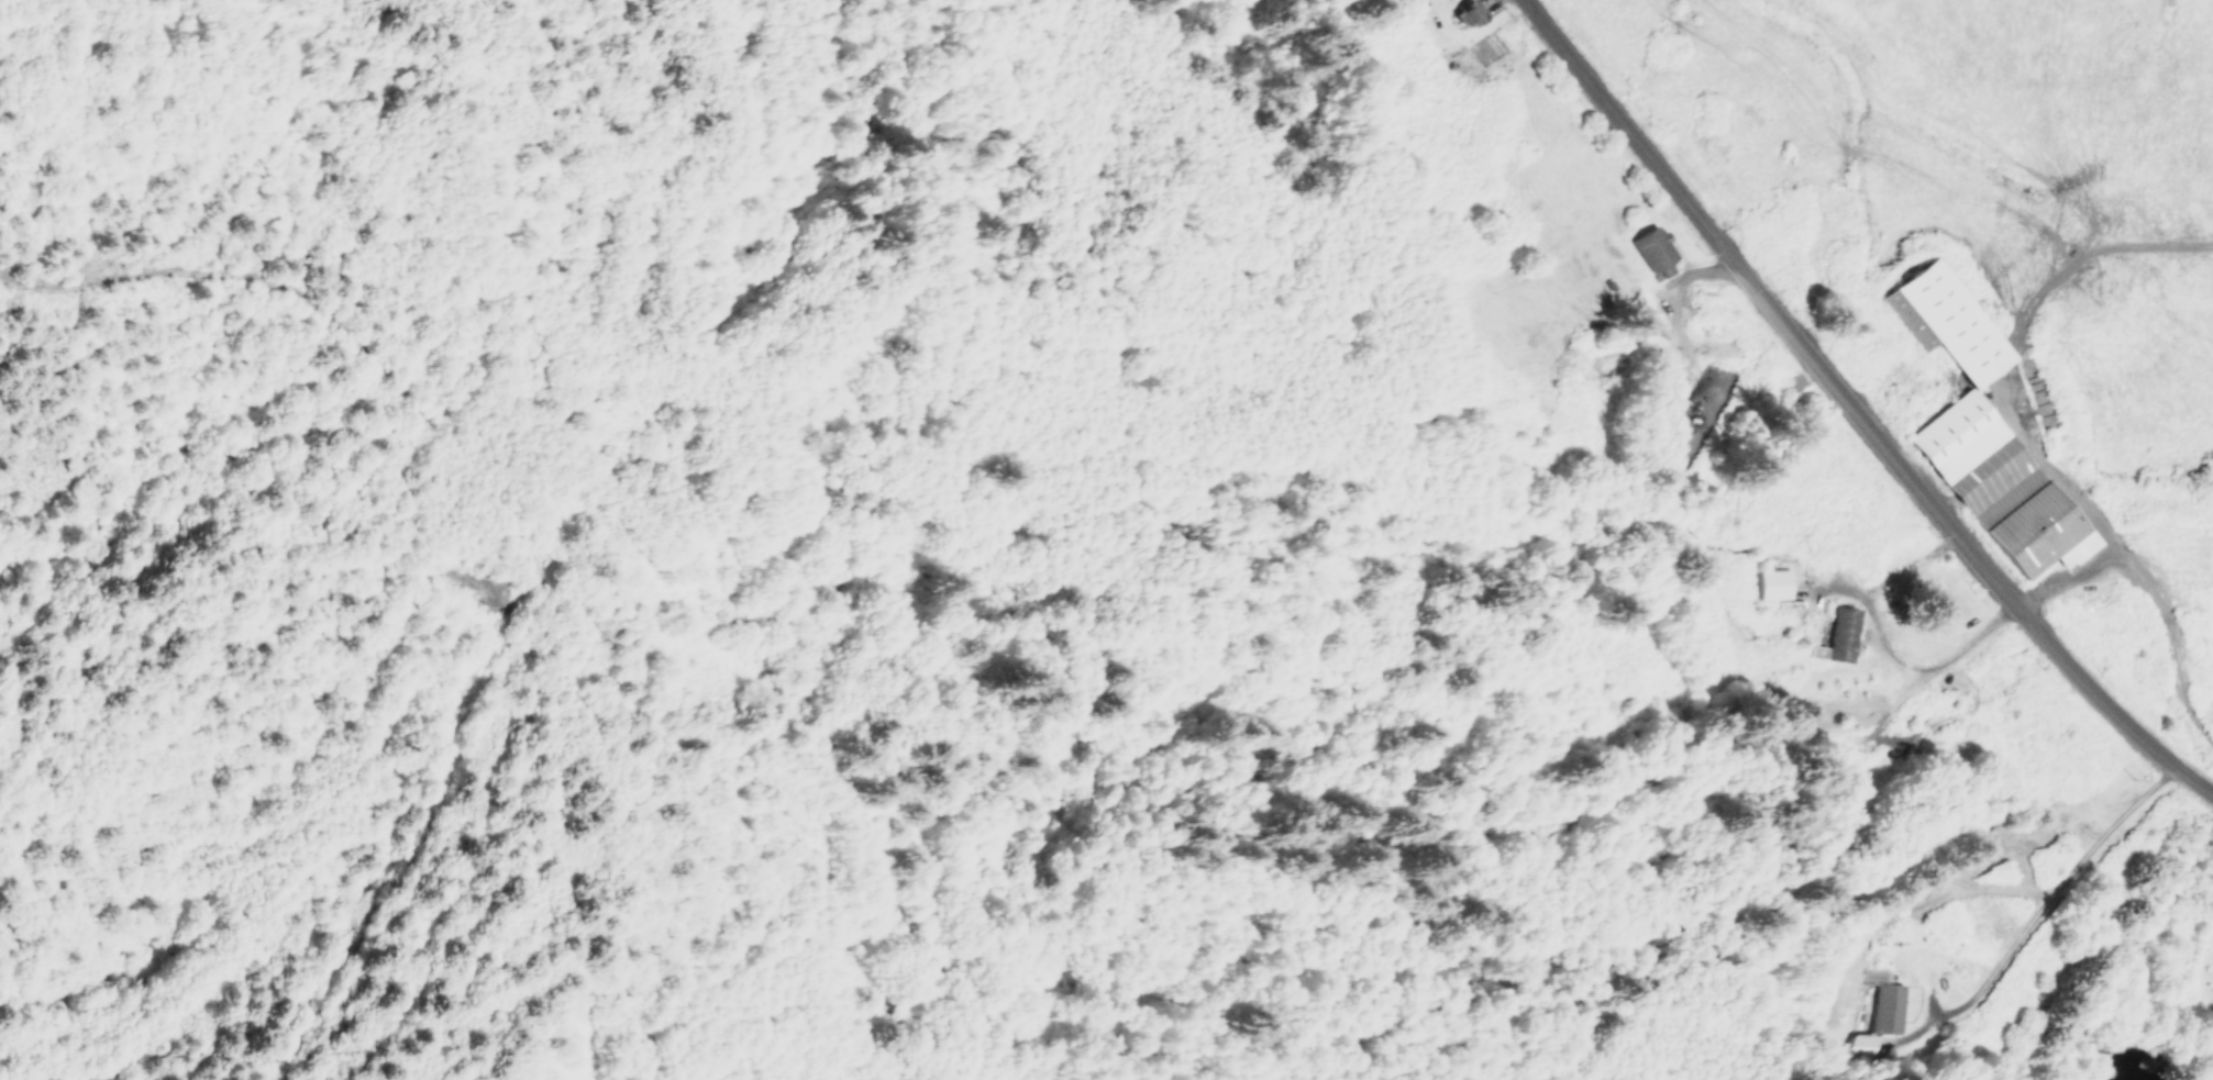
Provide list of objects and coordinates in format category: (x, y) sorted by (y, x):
building: (1470, 13)
crop: (2025, 233)
building: (1653, 247)
building: (1947, 321)
road: (1854, 408)
building: (2002, 485)
building: (1773, 583)
building: (1838, 635)
road: (1846, 725)
building: (1885, 1001)
building: (1868, 1043)

